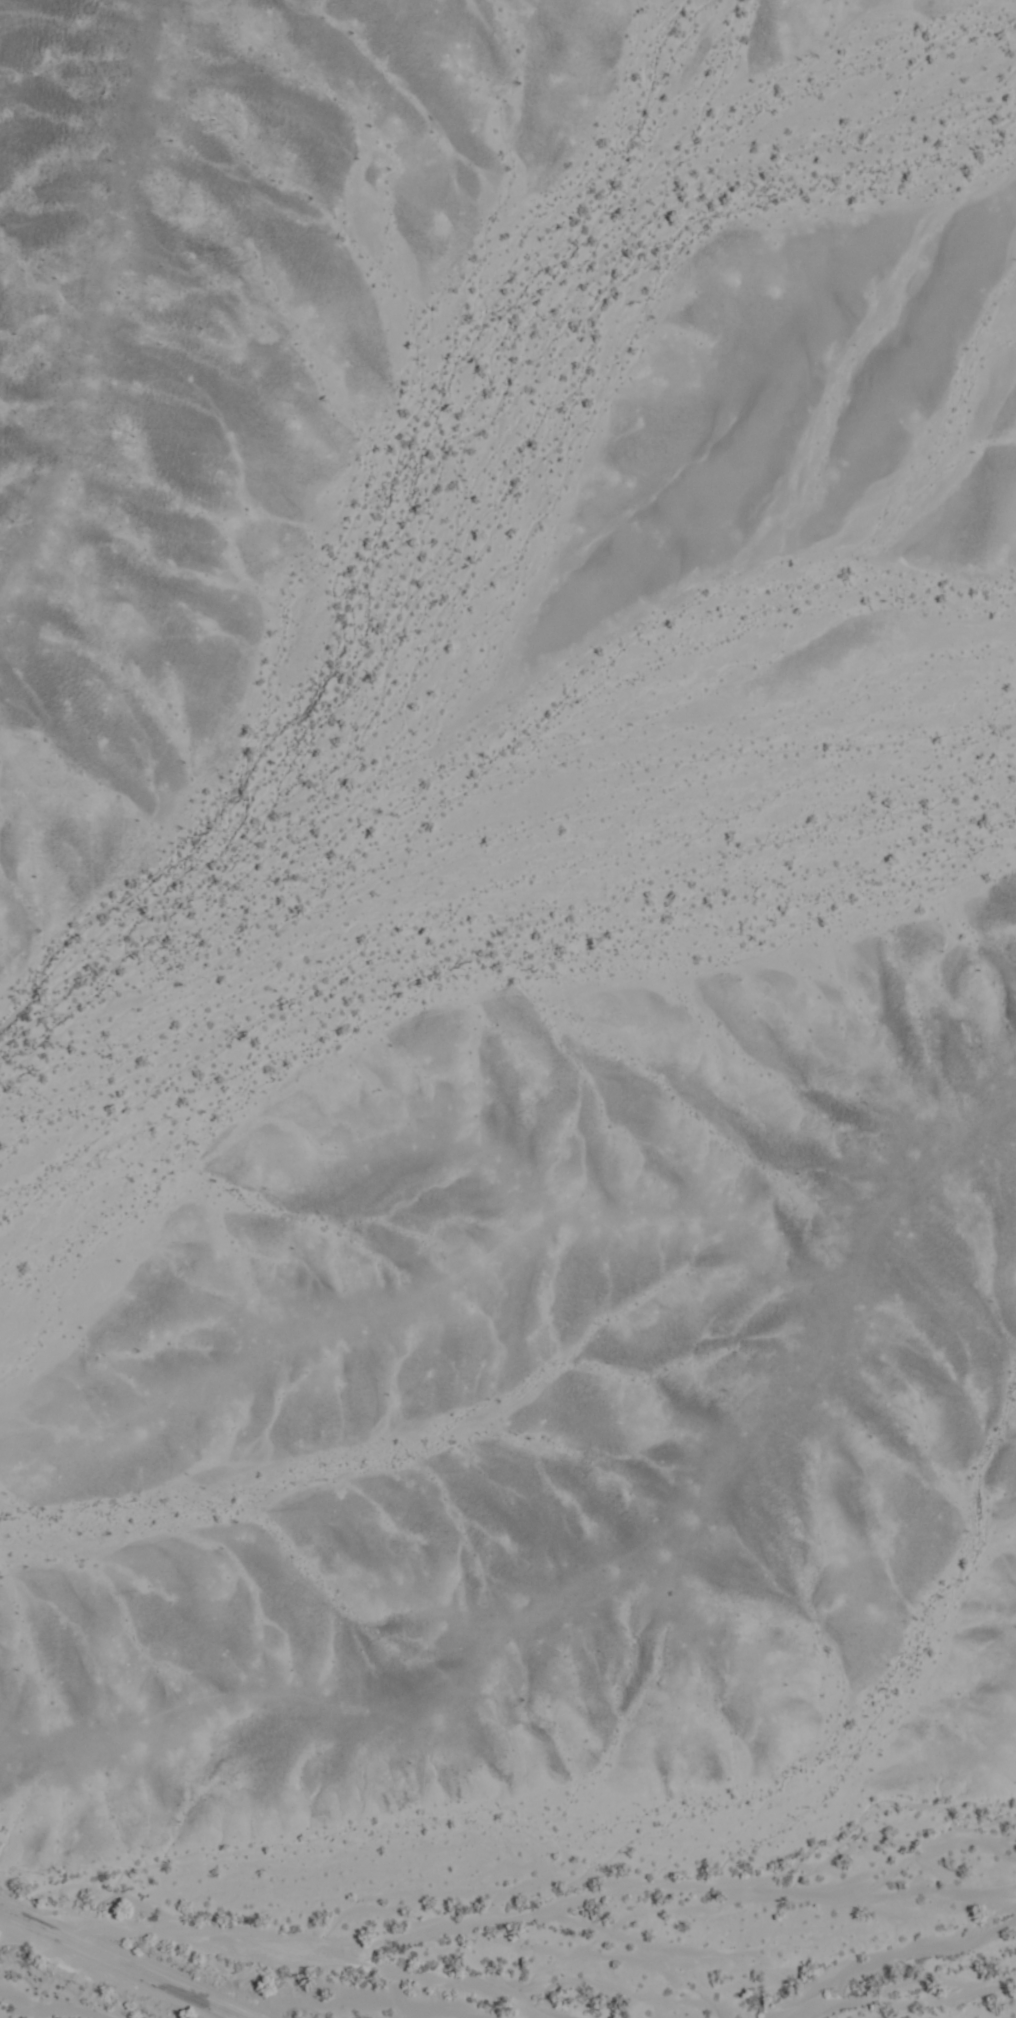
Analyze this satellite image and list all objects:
road: (118, 1964)

